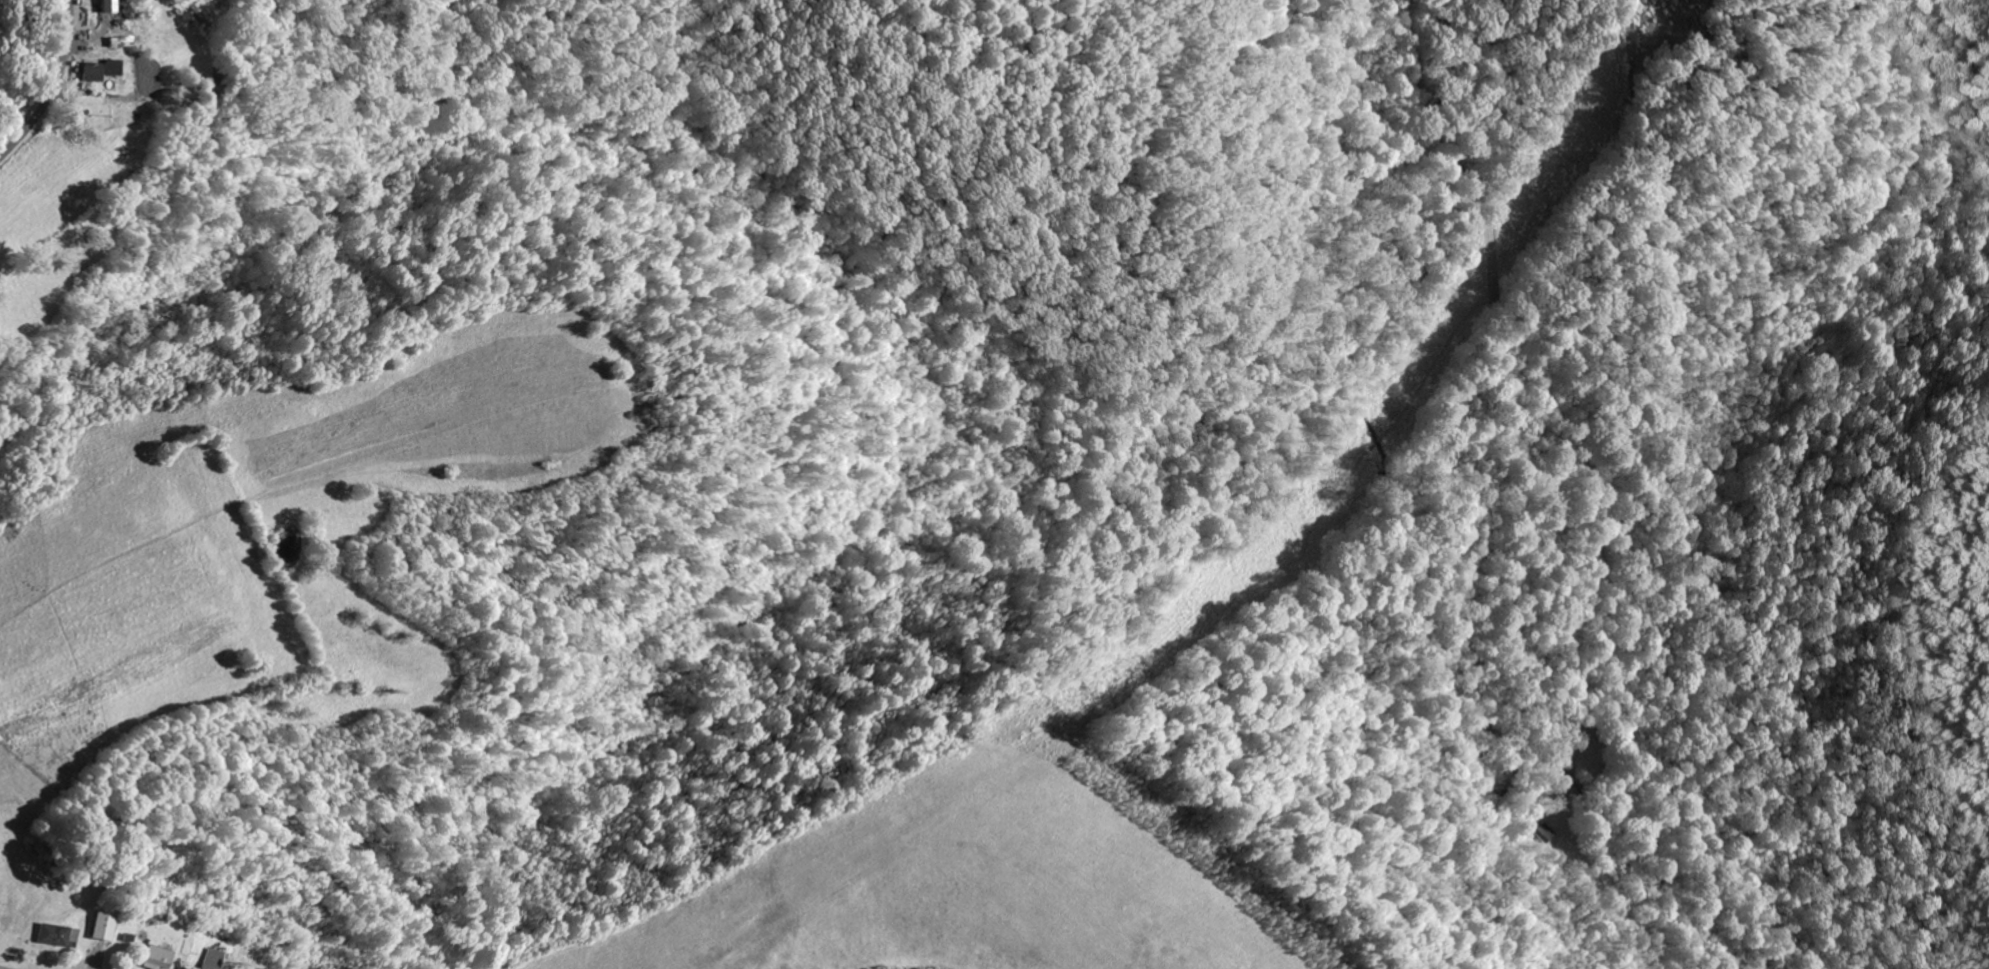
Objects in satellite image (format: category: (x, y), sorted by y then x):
building: (95, 71)
road: (51, 86)
building: (50, 936)
building: (152, 958)
building: (207, 959)
road: (2, 968)

